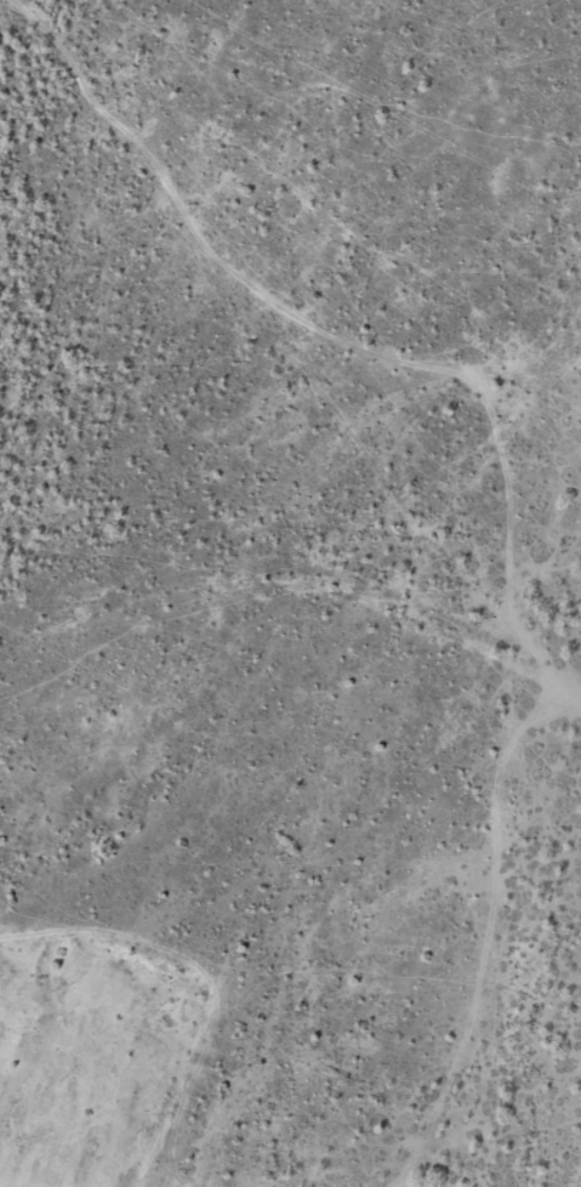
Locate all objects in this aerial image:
road: (302, 621)

